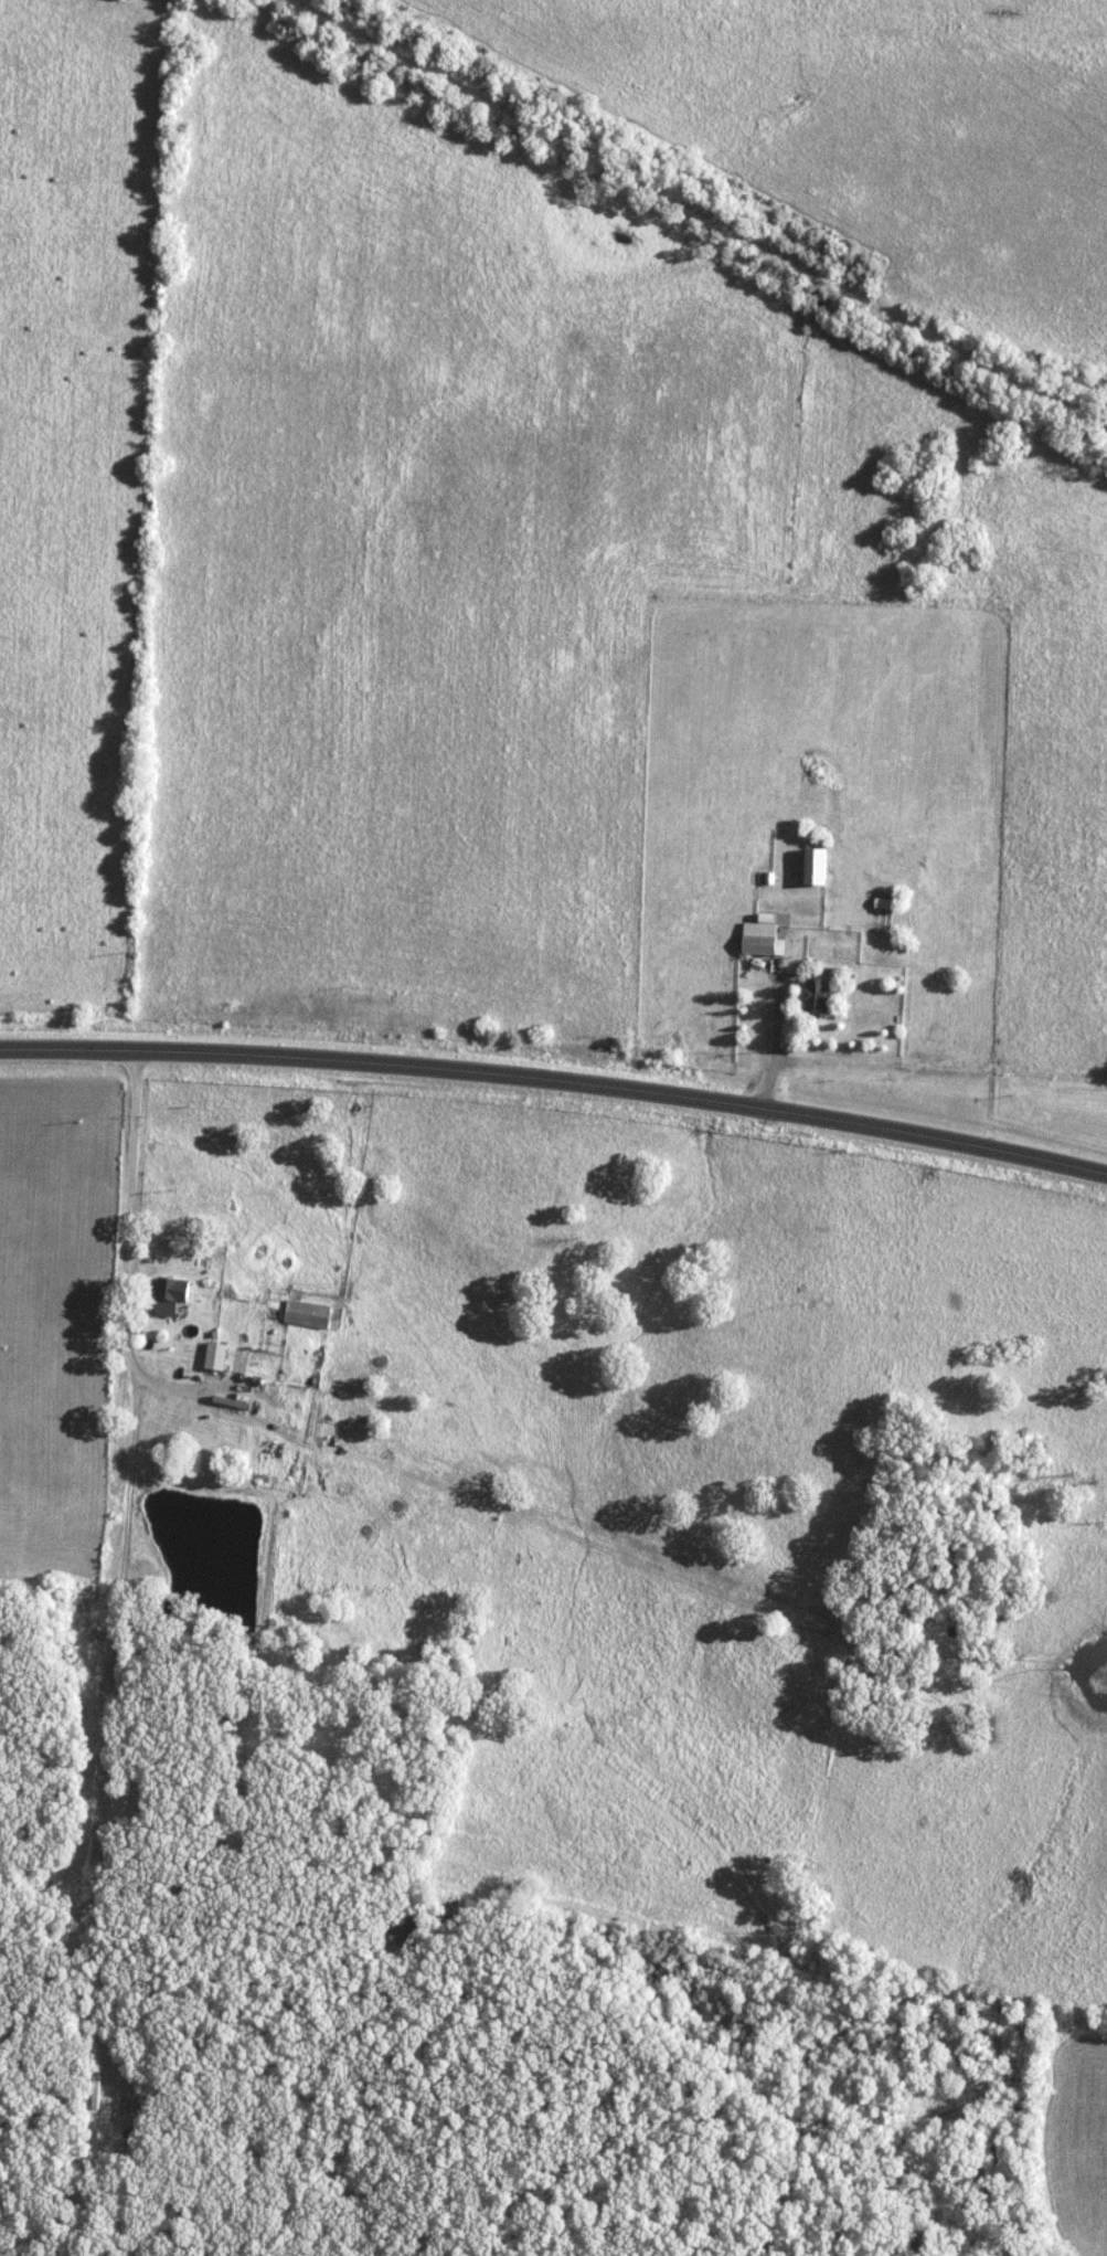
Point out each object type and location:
building: (813, 866)
building: (872, 926)
building: (758, 938)
building: (816, 993)
road: (556, 1078)
road: (127, 1246)
building: (168, 1294)
building: (306, 1313)
building: (213, 1355)

